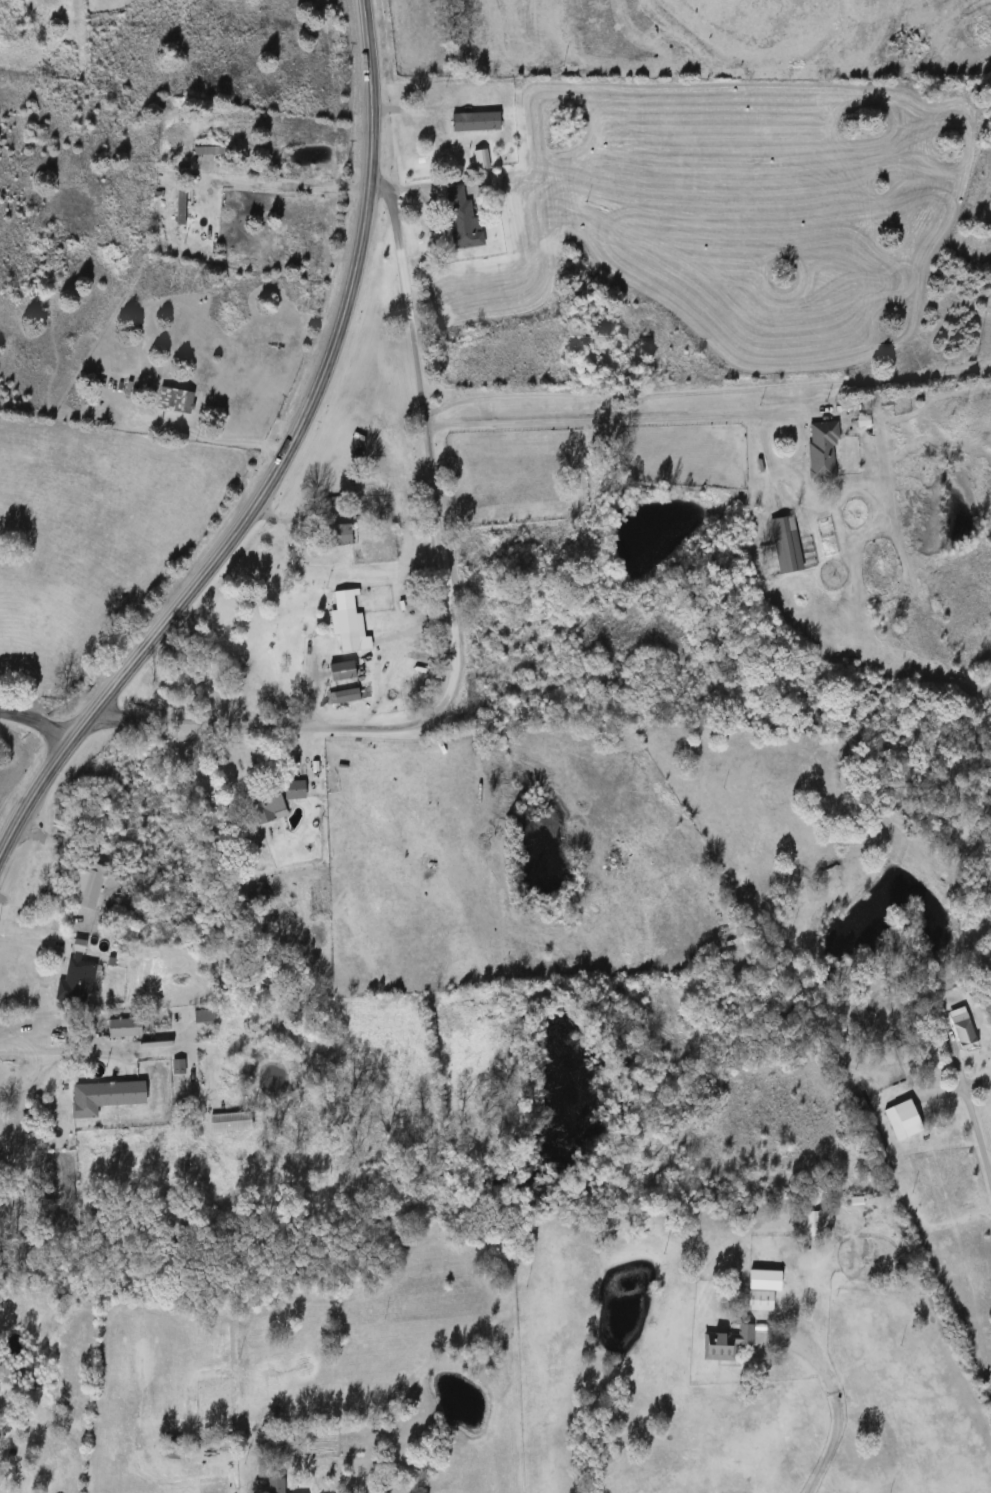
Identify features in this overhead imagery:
building: (477, 121)
building: (482, 164)
road: (286, 185)
building: (182, 205)
building: (464, 219)
road: (705, 388)
building: (178, 399)
road: (614, 418)
road: (206, 437)
building: (819, 451)
road: (277, 462)
building: (342, 534)
building: (781, 544)
road: (448, 614)
building: (348, 628)
building: (346, 671)
building: (349, 696)
road: (36, 721)
building: (276, 800)
building: (91, 885)
building: (259, 900)
road: (30, 940)
building: (79, 978)
building: (205, 1016)
building: (127, 1027)
building: (957, 1029)
road: (61, 1052)
building: (109, 1097)
road: (969, 1102)
building: (901, 1118)
building: (233, 1122)
building: (811, 1223)
building: (763, 1301)
building: (727, 1343)
road: (827, 1414)
building: (273, 1484)

